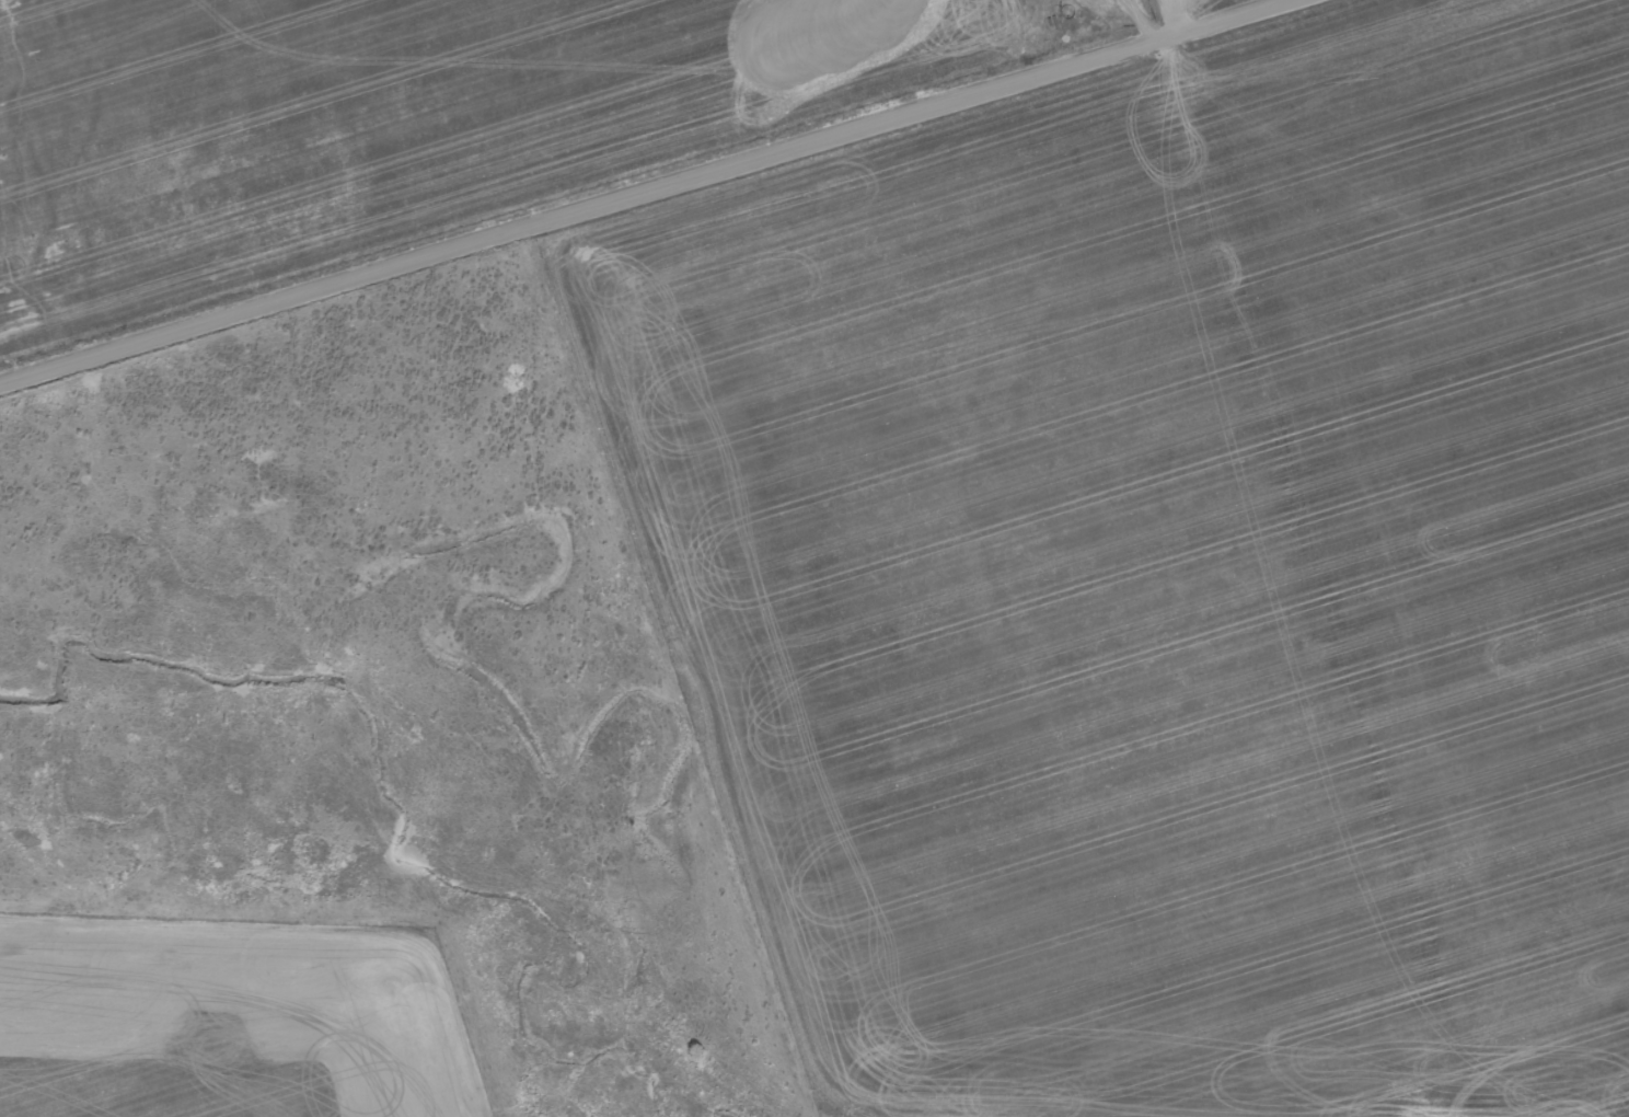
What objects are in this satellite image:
road: (638, 191)

